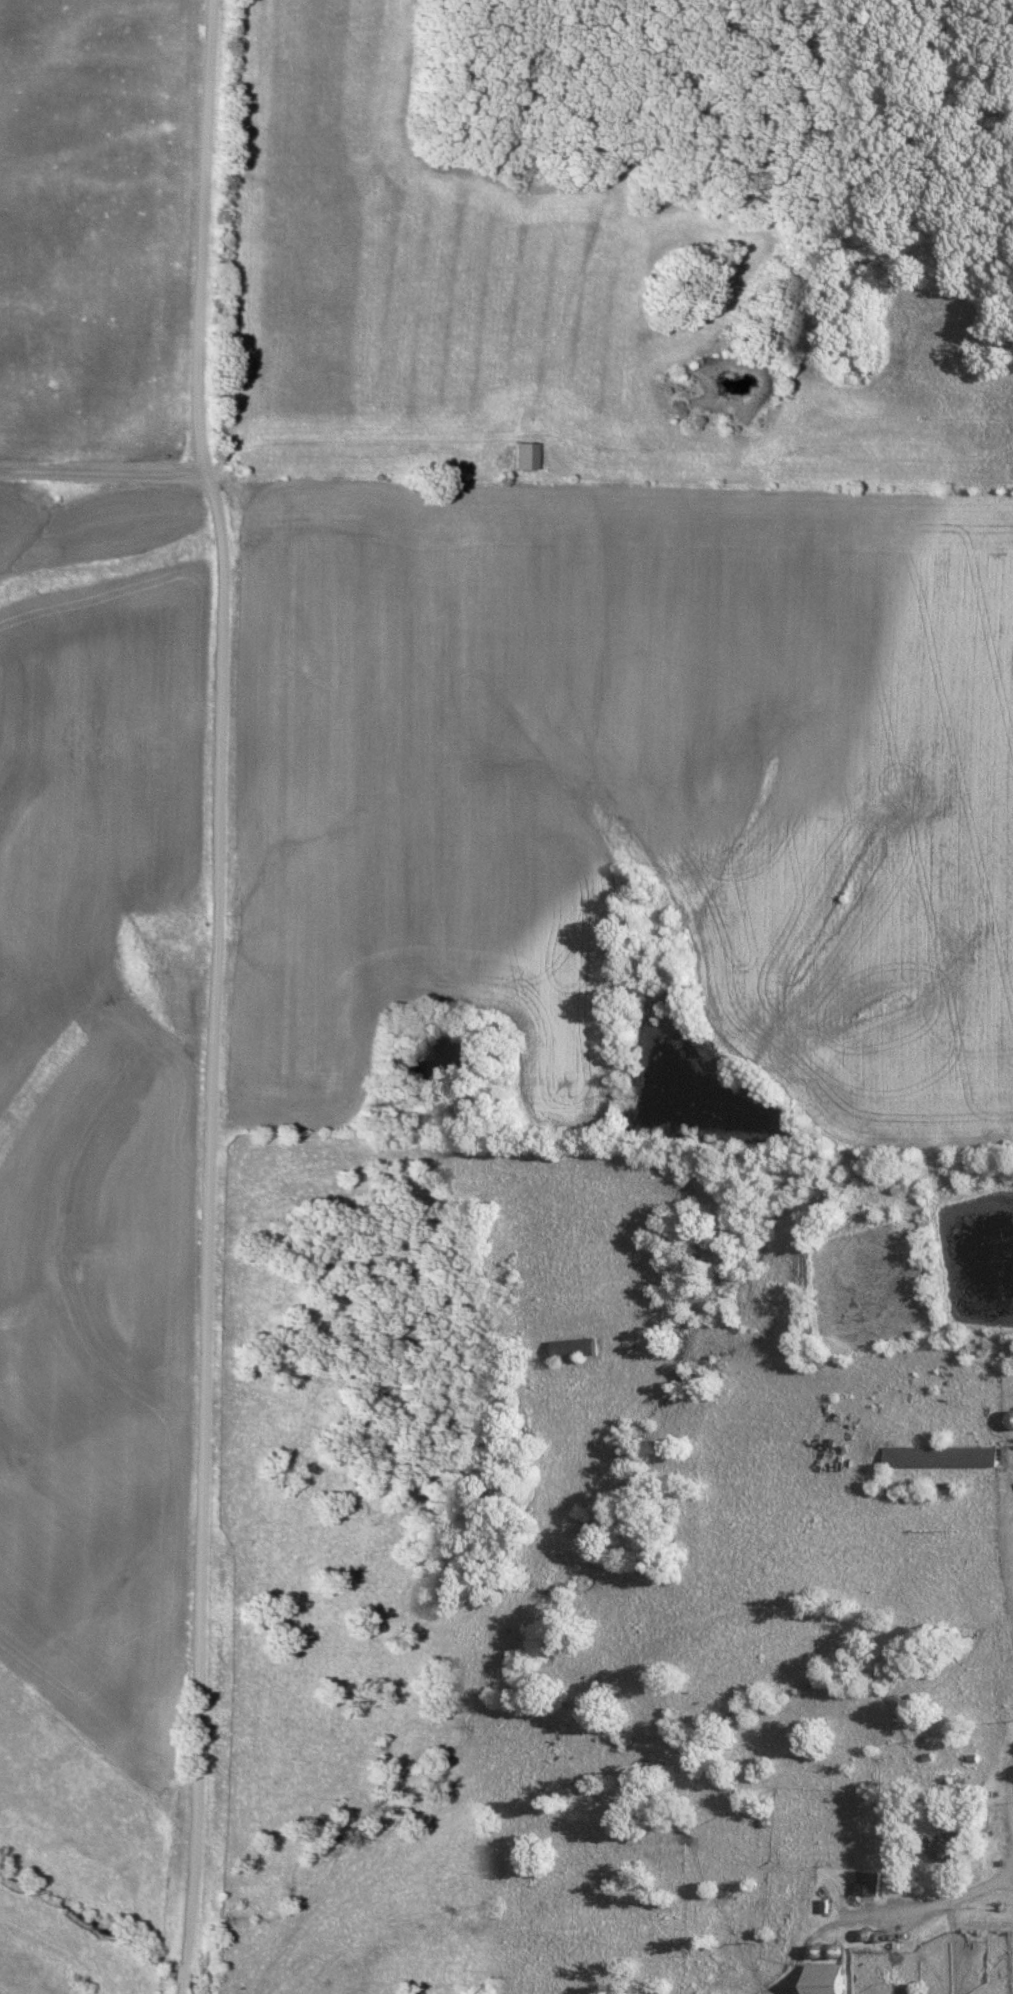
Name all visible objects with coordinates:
road: (202, 235)
building: (525, 455)
road: (103, 477)
road: (208, 1232)
building: (576, 1348)
building: (1012, 1420)
building: (941, 1457)
building: (946, 1847)
building: (868, 1883)
road: (937, 1917)
building: (825, 1979)

